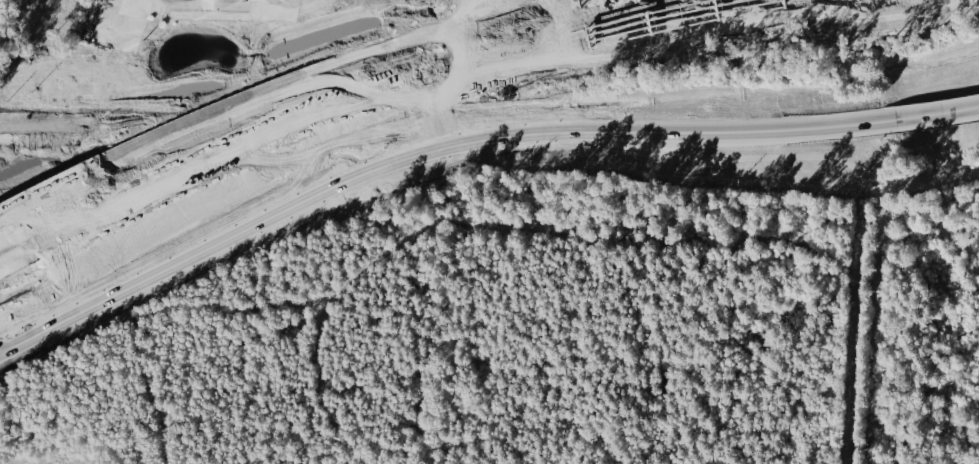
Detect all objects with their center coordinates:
building: (209, 5)
road: (672, 16)
road: (174, 60)
road: (276, 92)
road: (936, 117)
road: (725, 133)
road: (286, 136)
road: (270, 224)
road: (36, 329)

